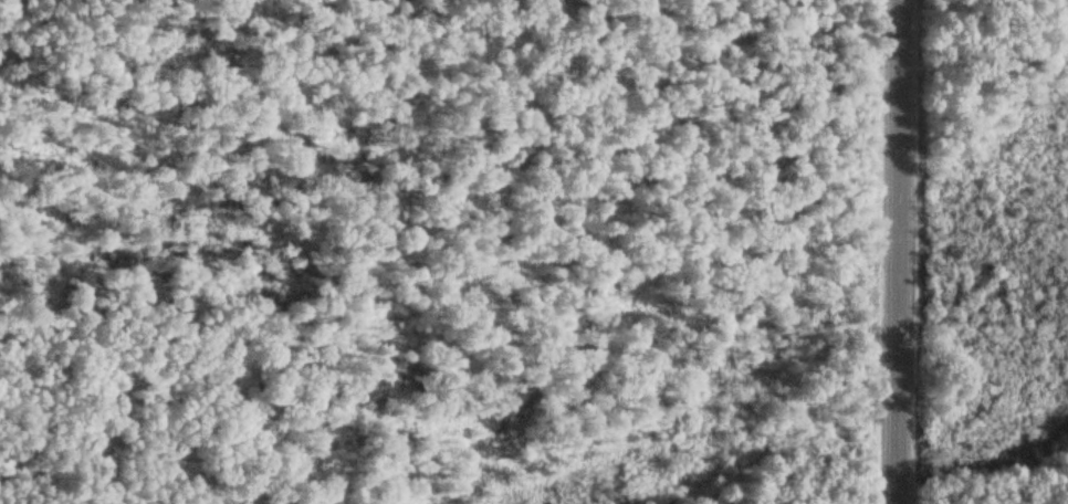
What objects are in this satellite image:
road: (896, 252)

